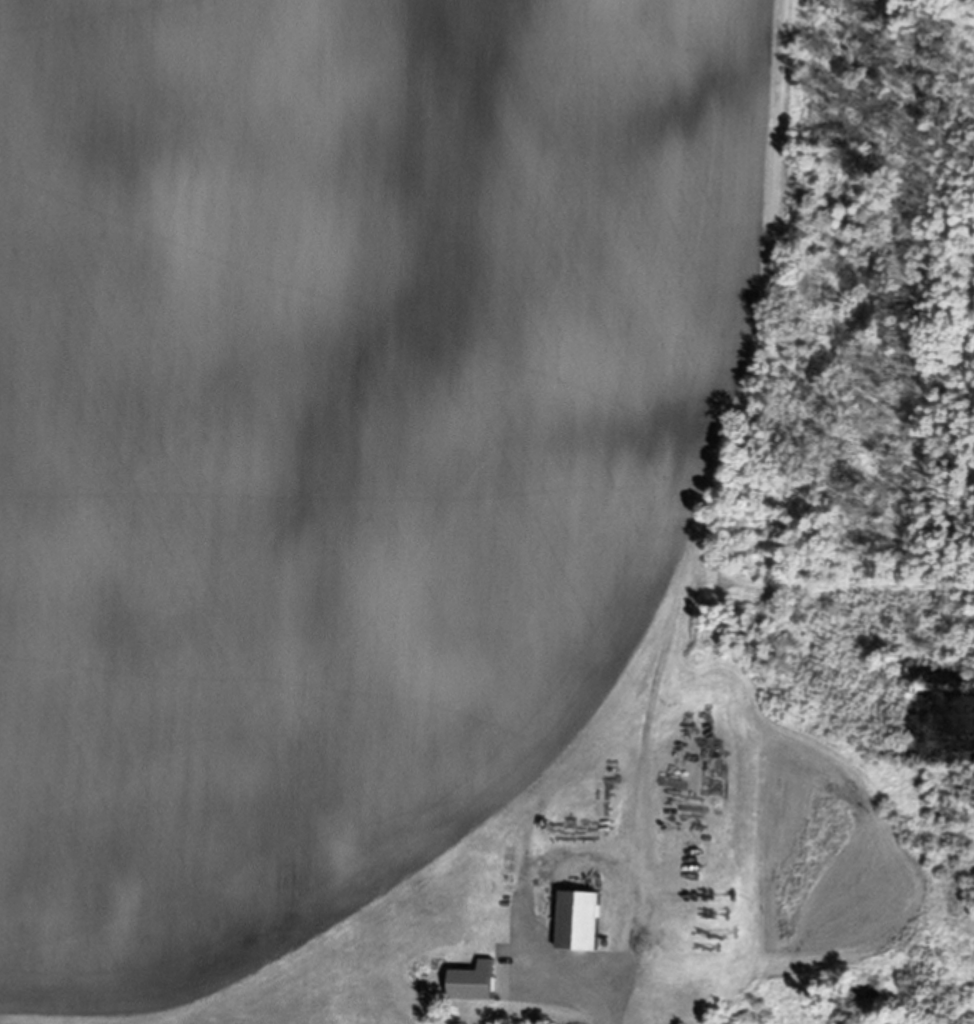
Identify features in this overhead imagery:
building: (578, 921)
building: (474, 982)

